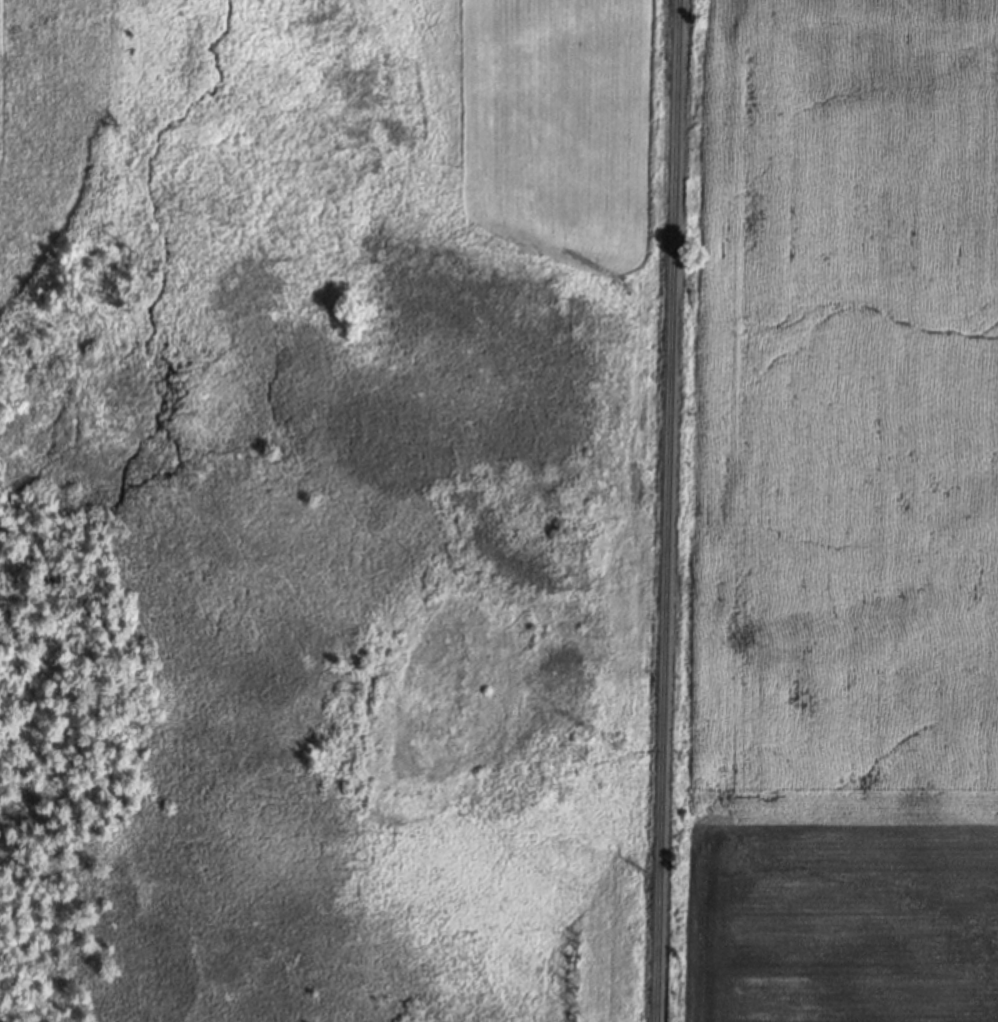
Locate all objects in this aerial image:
railway: (656, 510)

